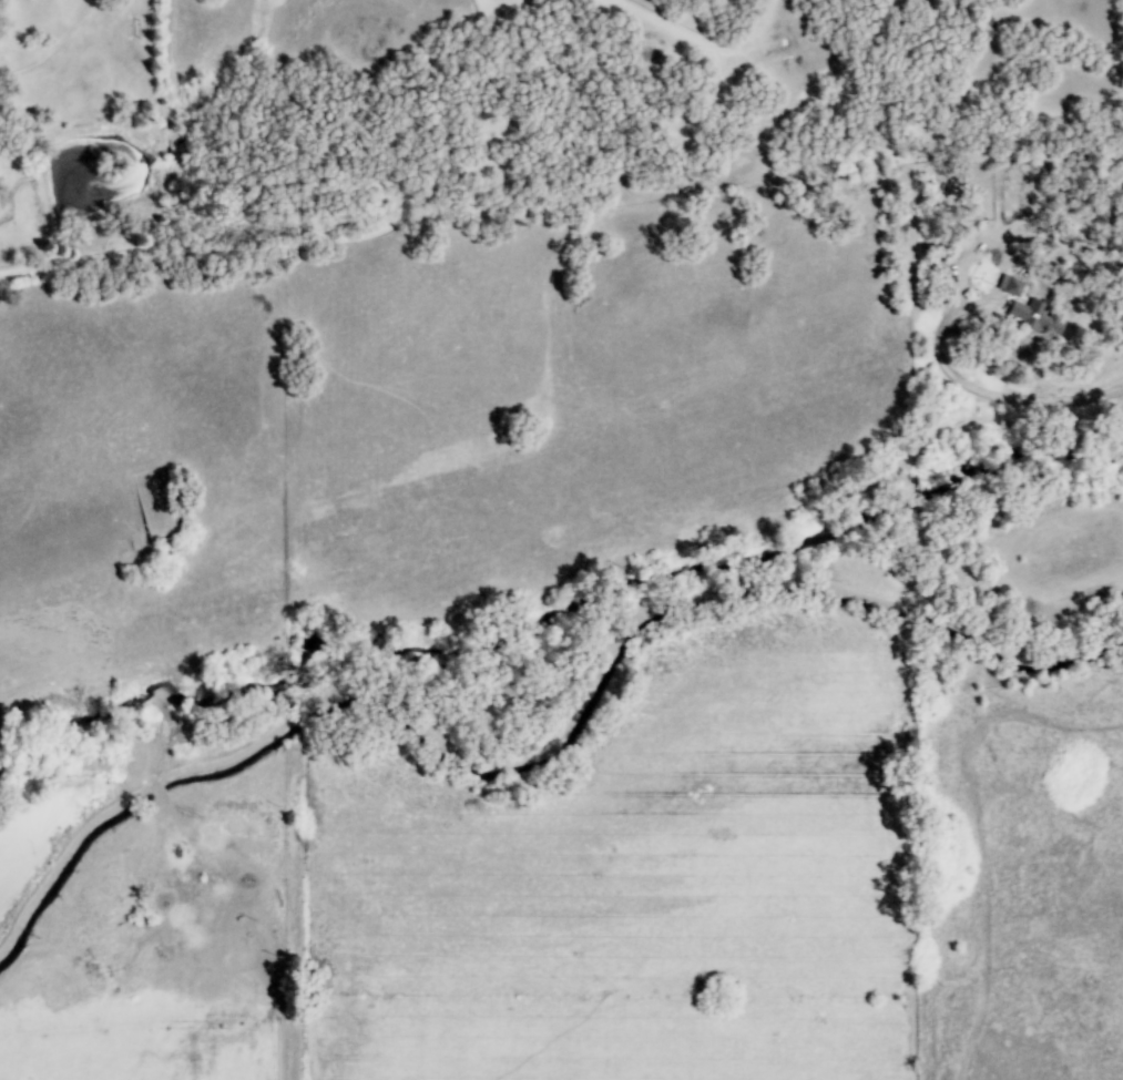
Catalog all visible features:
road: (59, 52)
road: (390, 226)
road: (65, 266)
building: (1009, 285)
building: (1035, 316)

